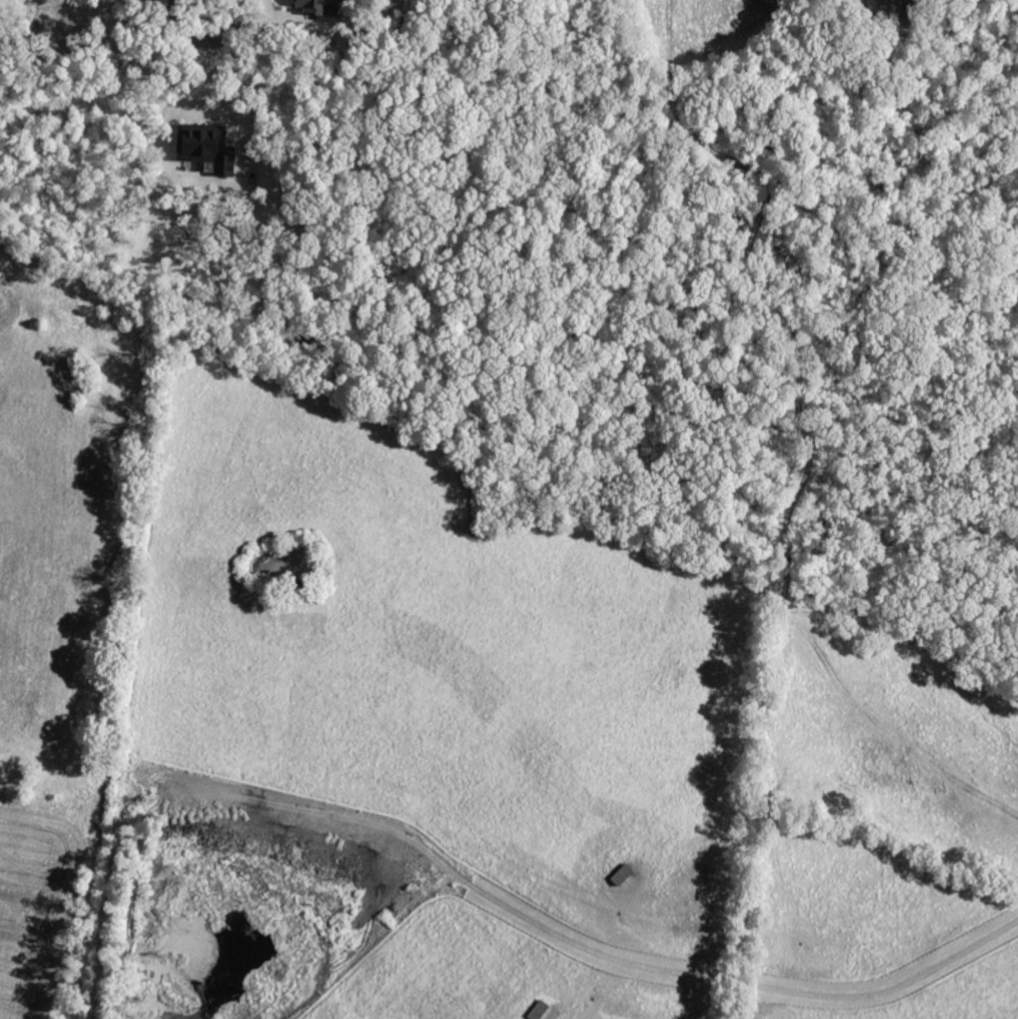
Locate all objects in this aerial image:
road: (205, 1)
building: (321, 7)
road: (215, 85)
building: (215, 147)
road: (735, 982)

